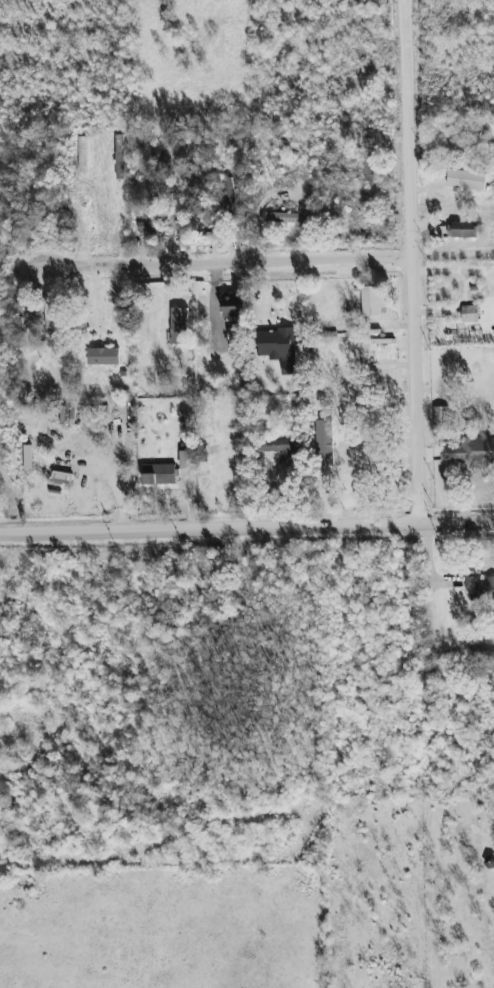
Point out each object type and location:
road: (408, 66)
road: (453, 131)
building: (465, 131)
building: (120, 160)
building: (368, 161)
building: (466, 179)
building: (230, 197)
building: (287, 217)
building: (147, 226)
building: (462, 229)
road: (226, 260)
building: (371, 300)
building: (234, 305)
building: (469, 313)
building: (48, 314)
building: (179, 325)
road: (420, 329)
building: (233, 338)
building: (281, 348)
building: (103, 356)
building: (440, 415)
building: (286, 451)
building: (472, 452)
building: (188, 459)
building: (356, 461)
building: (159, 473)
road: (247, 530)
building: (479, 588)

